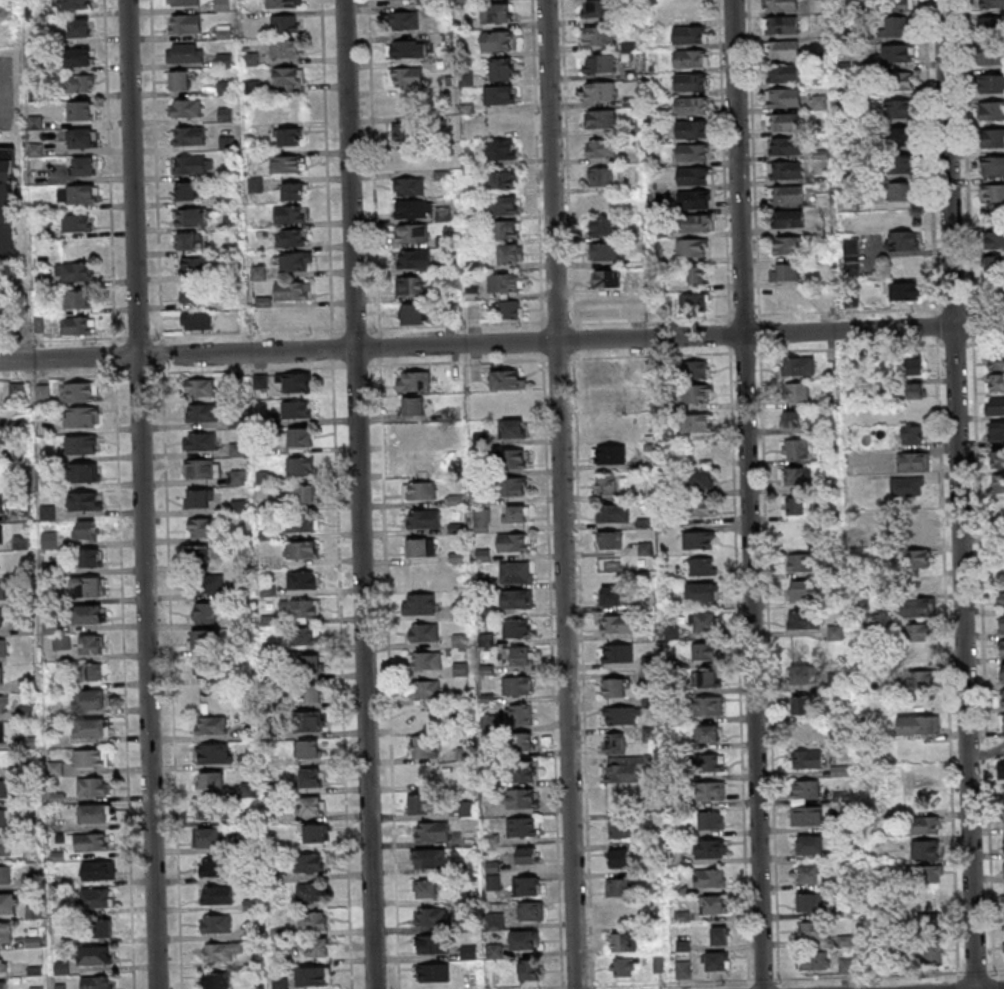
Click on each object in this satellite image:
building: (183, 2)
building: (280, 3)
building: (987, 3)
building: (74, 4)
building: (781, 4)
building: (221, 5)
building: (898, 5)
building: (595, 8)
building: (496, 12)
building: (403, 20)
building: (185, 23)
building: (285, 23)
building: (991, 23)
building: (781, 25)
building: (896, 26)
building: (80, 27)
building: (688, 34)
building: (598, 35)
building: (497, 40)
building: (284, 48)
building: (401, 48)
building: (781, 50)
building: (182, 52)
building: (895, 53)
building: (78, 56)
building: (991, 56)
building: (689, 57)
building: (249, 58)
building: (224, 60)
building: (601, 63)
building: (501, 68)
building: (782, 74)
building: (288, 75)
building: (405, 75)
building: (179, 79)
building: (690, 80)
building: (898, 81)
building: (78, 83)
building: (991, 84)
building: (253, 86)
building: (225, 87)
building: (601, 90)
building: (498, 94)
building: (784, 97)
building: (820, 102)
building: (691, 104)
building: (185, 108)
building: (899, 108)
building: (82, 109)
building: (991, 110)
road: (3, 112)
building: (225, 114)
building: (601, 118)
building: (783, 121)
building: (501, 122)
building: (692, 128)
building: (404, 130)
building: (189, 135)
building: (289, 136)
building: (902, 136)
building: (82, 138)
building: (992, 138)
building: (785, 145)
building: (600, 147)
building: (498, 150)
building: (692, 151)
building: (190, 163)
building: (285, 163)
road: (372, 164)
building: (84, 165)
road: (325, 165)
building: (905, 165)
building: (993, 165)
building: (227, 169)
building: (785, 170)
road: (108, 171)
building: (693, 175)
building: (601, 176)
building: (501, 179)
building: (407, 186)
building: (186, 190)
building: (292, 191)
building: (903, 191)
building: (992, 193)
building: (80, 194)
building: (787, 194)
building: (228, 198)
building: (693, 198)
building: (7, 200)
building: (503, 205)
building: (413, 208)
building: (289, 213)
building: (190, 216)
building: (788, 218)
building: (76, 222)
building: (694, 222)
building: (604, 226)
building: (504, 229)
building: (411, 232)
building: (289, 237)
building: (994, 239)
building: (190, 241)
building: (901, 241)
building: (785, 245)
building: (691, 246)
building: (603, 251)
building: (511, 253)
building: (851, 253)
building: (413, 258)
building: (295, 260)
building: (193, 264)
building: (993, 265)
building: (75, 271)
building: (784, 272)
building: (696, 274)
building: (605, 278)
building: (505, 282)
building: (412, 284)
building: (290, 290)
building: (902, 290)
building: (994, 290)
building: (192, 294)
building: (787, 296)
building: (76, 299)
building: (693, 301)
building: (616, 306)
building: (508, 309)
building: (413, 313)
building: (196, 320)
building: (75, 325)
road: (502, 344)
building: (994, 360)
building: (913, 363)
building: (797, 366)
building: (697, 368)
building: (605, 373)
building: (507, 379)
building: (294, 381)
building: (414, 381)
building: (994, 383)
building: (199, 387)
building: (915, 390)
building: (79, 391)
building: (797, 391)
building: (698, 393)
building: (413, 405)
building: (994, 406)
building: (295, 409)
building: (201, 412)
building: (81, 416)
building: (790, 419)
building: (696, 422)
building: (513, 428)
building: (996, 431)
building: (415, 432)
building: (912, 434)
building: (300, 436)
building: (200, 441)
building: (81, 444)
building: (0, 449)
building: (794, 449)
building: (608, 453)
building: (509, 458)
building: (995, 460)
building: (418, 461)
building: (913, 461)
building: (300, 465)
building: (201, 468)
building: (83, 472)
building: (237, 476)
building: (796, 476)
building: (703, 478)
building: (606, 484)
building: (510, 486)
building: (906, 486)
building: (420, 489)
building: (304, 493)
road: (142, 494)
road: (166, 494)
road: (361, 494)
road: (563, 494)
road: (750, 494)
road: (962, 494)
building: (199, 498)
building: (82, 500)
building: (1, 504)
building: (794, 505)
building: (701, 507)
building: (47, 508)
building: (612, 512)
building: (516, 513)
building: (1002, 517)
building: (424, 518)
building: (481, 519)
building: (302, 523)
building: (201, 527)
building: (85, 530)
building: (1, 534)
building: (918, 535)
building: (608, 539)
building: (698, 540)
building: (800, 540)
building: (21, 542)
building: (512, 542)
building: (420, 547)
building: (302, 549)
building: (203, 555)
building: (91, 557)
building: (918, 559)
building: (797, 562)
building: (702, 566)
building: (515, 570)
building: (302, 580)
building: (208, 583)
building: (86, 586)
building: (2, 591)
building: (801, 591)
building: (701, 592)
building: (612, 595)
building: (515, 598)
building: (1002, 600)
building: (419, 602)
building: (917, 607)
building: (302, 608)
building: (204, 612)
building: (88, 614)
building: (0, 619)
building: (803, 619)
building: (703, 621)
building: (616, 623)
building: (1002, 625)
building: (518, 628)
building: (424, 631)
building: (918, 632)
building: (303, 635)
building: (204, 638)
building: (62, 642)
building: (92, 644)
building: (2, 647)
building: (1002, 648)
building: (704, 650)
building: (616, 652)
building: (518, 655)
building: (426, 659)
building: (312, 664)
building: (208, 670)
building: (90, 671)
building: (799, 673)
building: (1002, 673)
building: (1, 674)
building: (709, 677)
building: (922, 679)
road: (124, 681)
building: (516, 685)
building: (616, 687)
building: (426, 689)
building: (309, 692)
building: (1003, 697)
building: (89, 699)
building: (3, 704)
building: (708, 705)
building: (805, 706)
building: (520, 714)
building: (620, 715)
building: (309, 721)
building: (1002, 721)
building: (918, 724)
building: (210, 725)
building: (90, 728)
building: (1, 733)
building: (707, 733)
building: (807, 734)
building: (521, 741)
building: (615, 742)
building: (422, 746)
building: (308, 749)
building: (214, 753)
building: (88, 758)
building: (807, 760)
building: (711, 762)
building: (626, 767)
building: (1001, 769)
building: (522, 771)
building: (426, 775)
building: (310, 777)
building: (211, 780)
building: (91, 786)
building: (4, 788)
building: (807, 789)
building: (713, 790)
building: (521, 798)
building: (421, 803)
building: (311, 805)
building: (466, 808)
building: (211, 809)
building: (92, 812)
building: (805, 816)
building: (3, 817)
building: (711, 819)
building: (925, 824)
building: (521, 826)
building: (618, 828)
building: (433, 831)
building: (314, 832)
building: (208, 837)
building: (92, 841)
building: (812, 844)
building: (5, 846)
building: (708, 848)
building: (925, 849)
building: (527, 855)
building: (619, 857)
building: (430, 858)
building: (309, 862)
building: (211, 867)
building: (96, 870)
building: (811, 873)
building: (928, 873)
building: (5, 874)
building: (493, 875)
building: (707, 877)
building: (527, 885)
building: (619, 887)
building: (426, 888)
building: (310, 891)
building: (217, 894)
building: (95, 898)
building: (811, 901)
building: (7, 903)
building: (712, 903)
building: (533, 910)
building: (881, 915)
building: (431, 916)
building: (311, 920)
building: (495, 920)
building: (927, 921)
building: (216, 924)
building: (103, 928)
building: (812, 930)
building: (5, 932)
building: (719, 935)
building: (524, 940)
building: (623, 941)
building: (433, 944)
building: (318, 947)
building: (492, 949)
building: (218, 951)
building: (934, 952)
building: (94, 955)
building: (716, 960)
building: (815, 960)
building: (3, 961)
building: (622, 966)
building: (683, 969)
building: (526, 971)
building: (434, 972)
building: (313, 976)
building: (216, 980)
building: (95, 982)
building: (3, 985)

